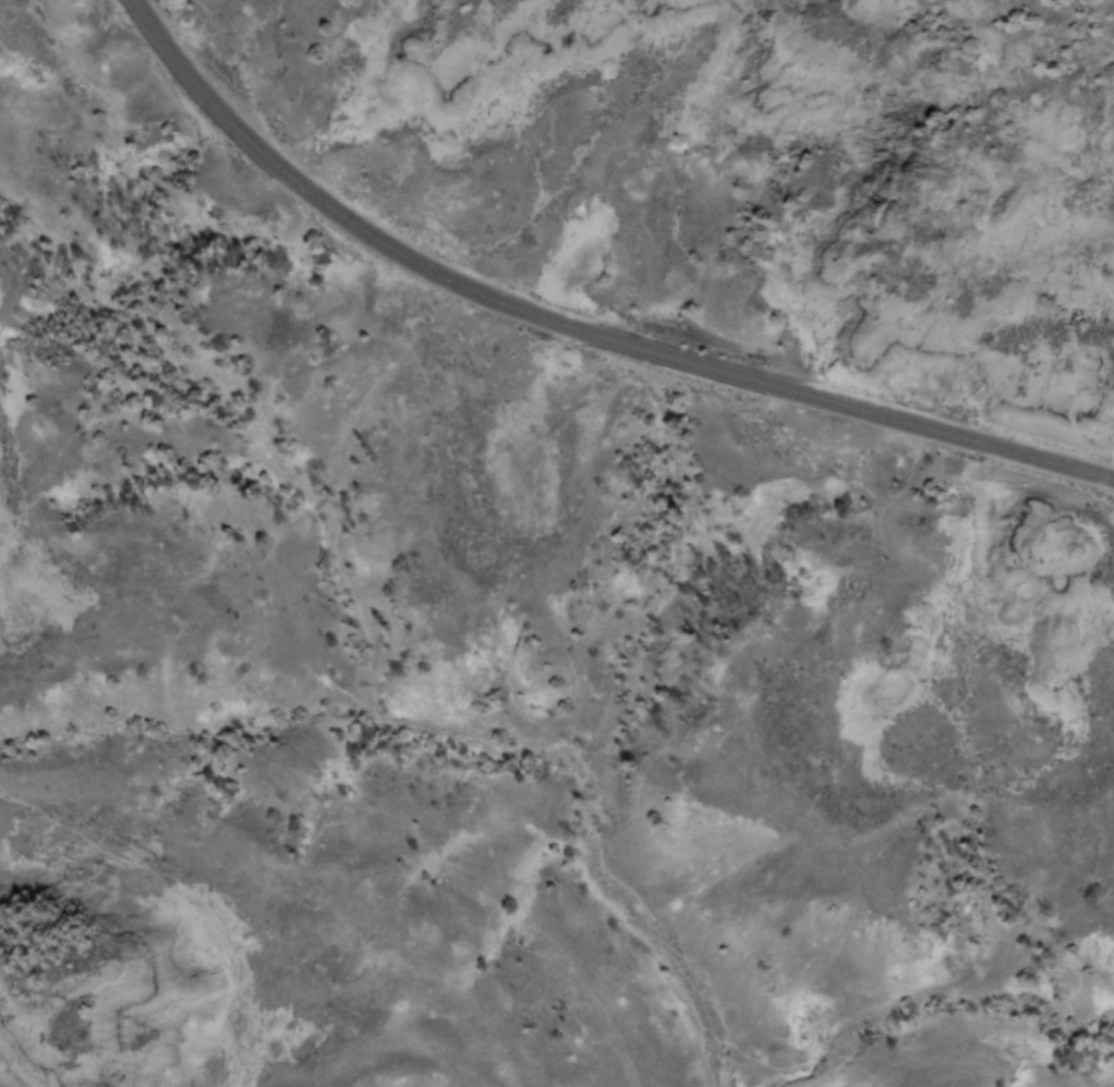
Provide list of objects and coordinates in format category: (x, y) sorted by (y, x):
road: (574, 330)

